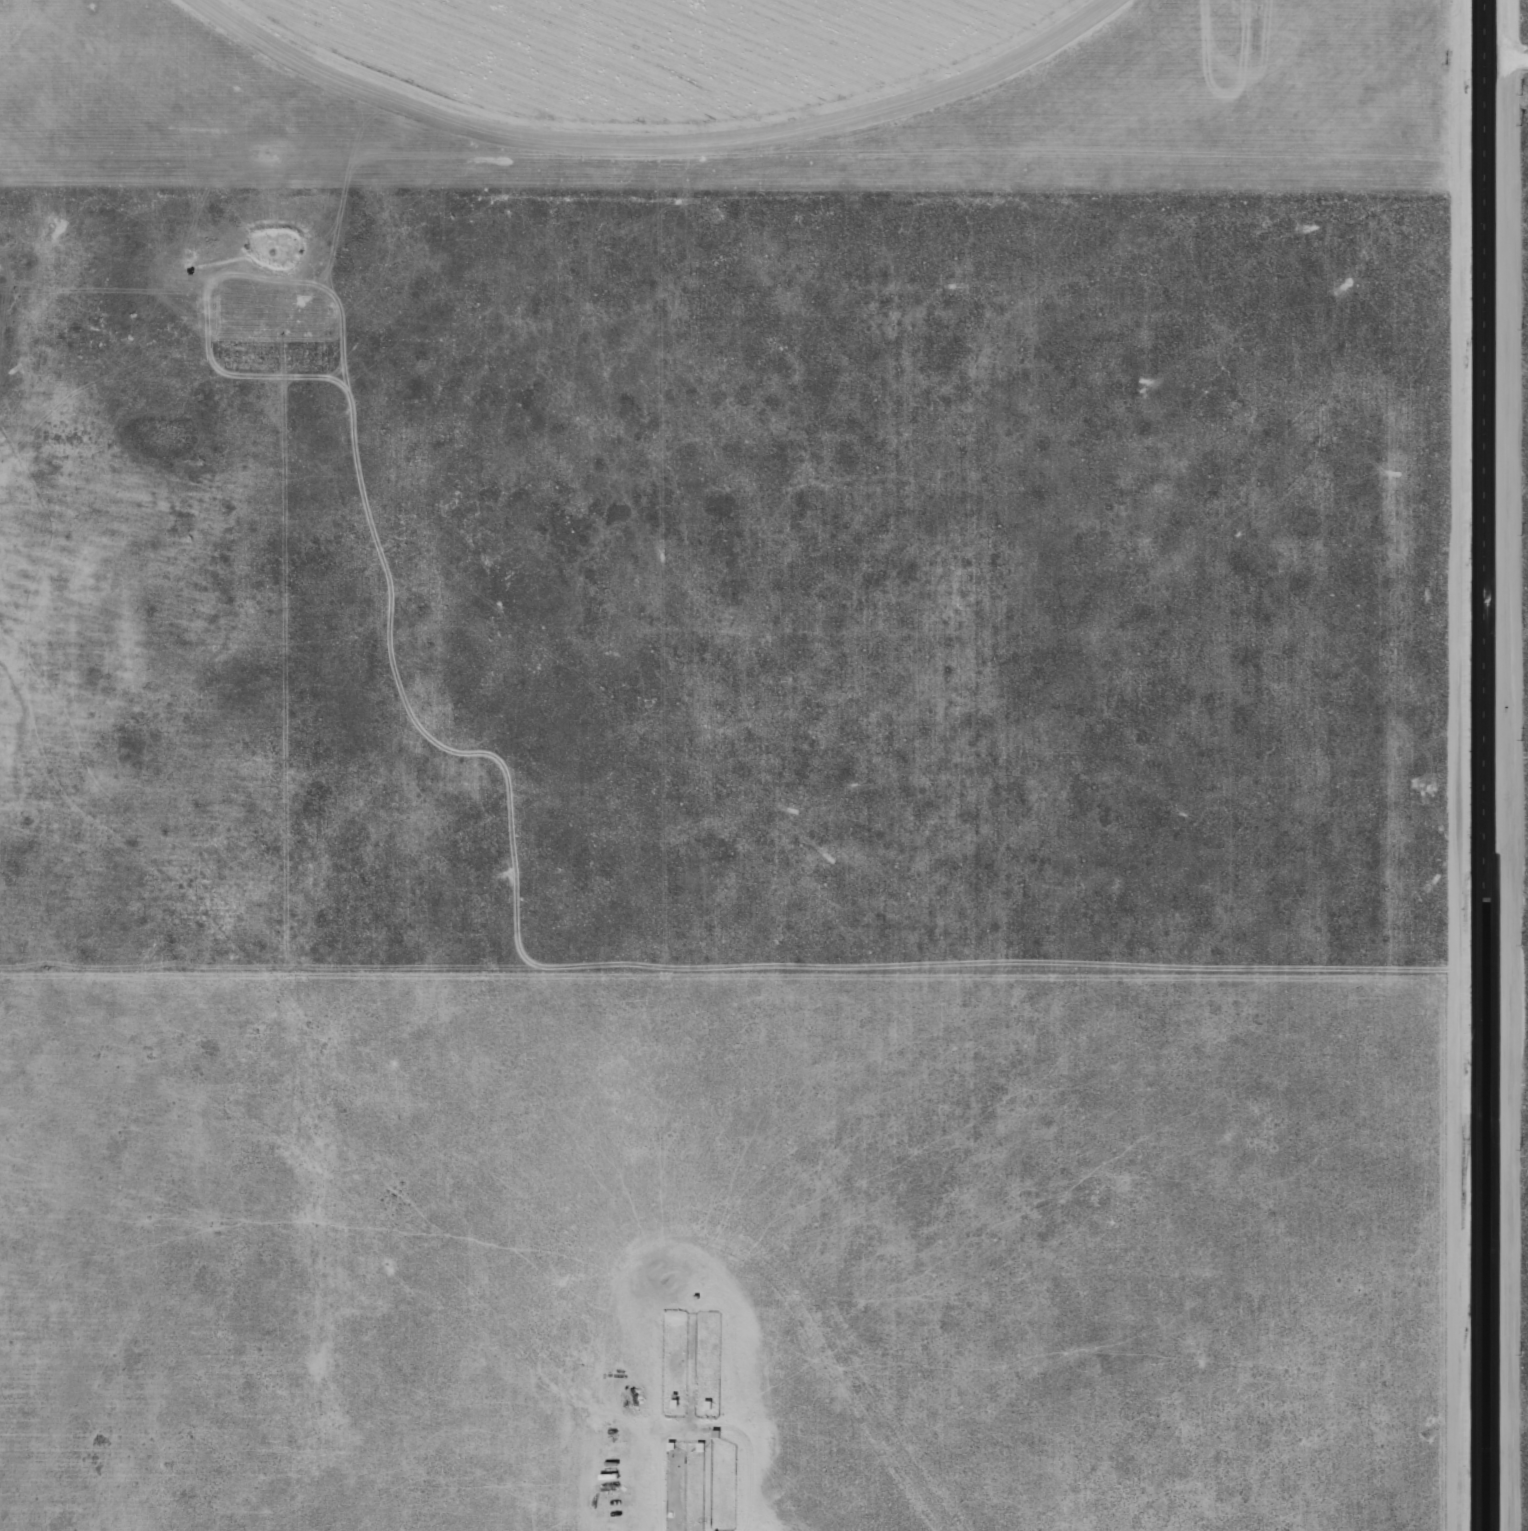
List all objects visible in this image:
road: (1477, 765)

